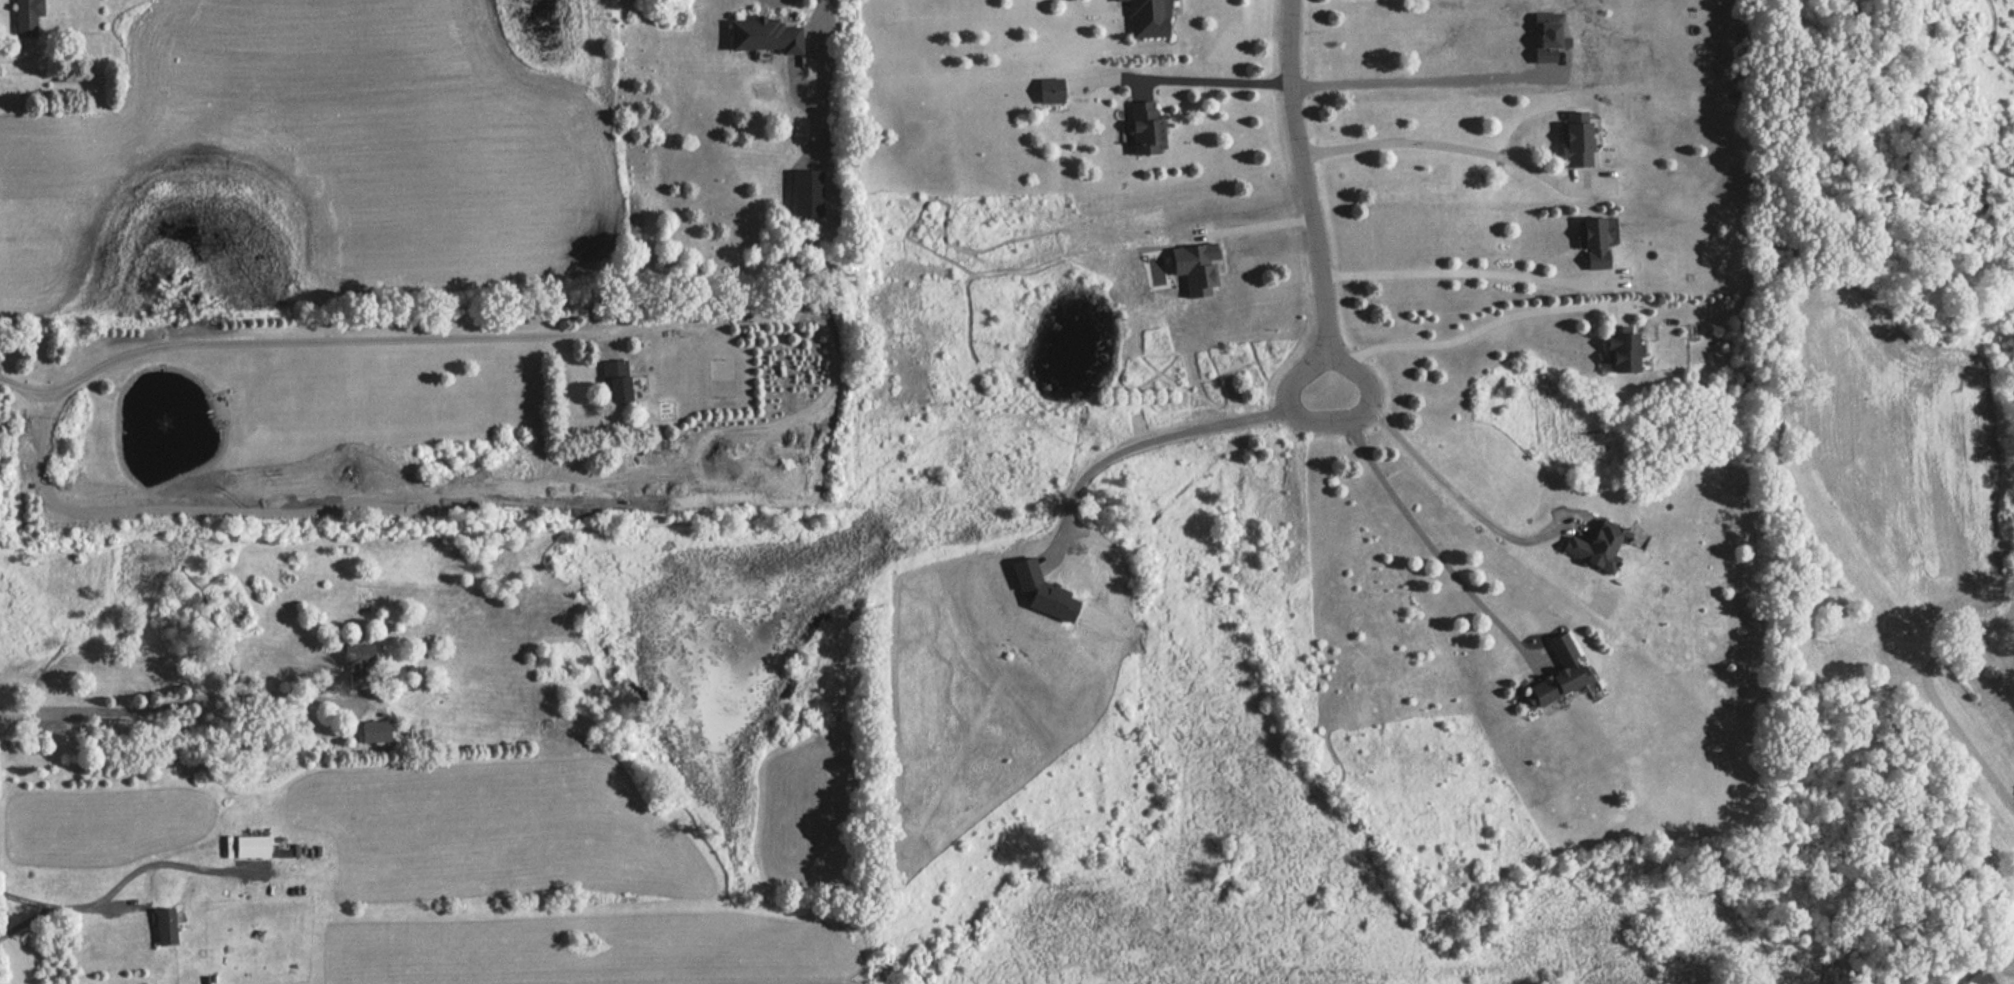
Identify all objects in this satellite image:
building: (29, 17)
road: (824, 17)
building: (1149, 18)
building: (767, 35)
road: (1206, 79)
road: (1418, 84)
building: (1051, 91)
building: (1146, 128)
crop: (324, 142)
building: (1578, 144)
road: (1435, 146)
road: (1307, 191)
road: (1257, 219)
building: (1596, 242)
road: (1445, 266)
road: (1466, 330)
road: (292, 340)
building: (1626, 349)
building: (619, 379)
road: (1156, 439)
road: (1438, 481)
road: (1404, 515)
building: (1599, 546)
building: (1557, 669)
building: (360, 671)
road: (1934, 701)
road: (179, 703)
building: (376, 732)
road: (66, 910)
road: (24, 924)
building: (167, 926)
building: (1980, 977)

